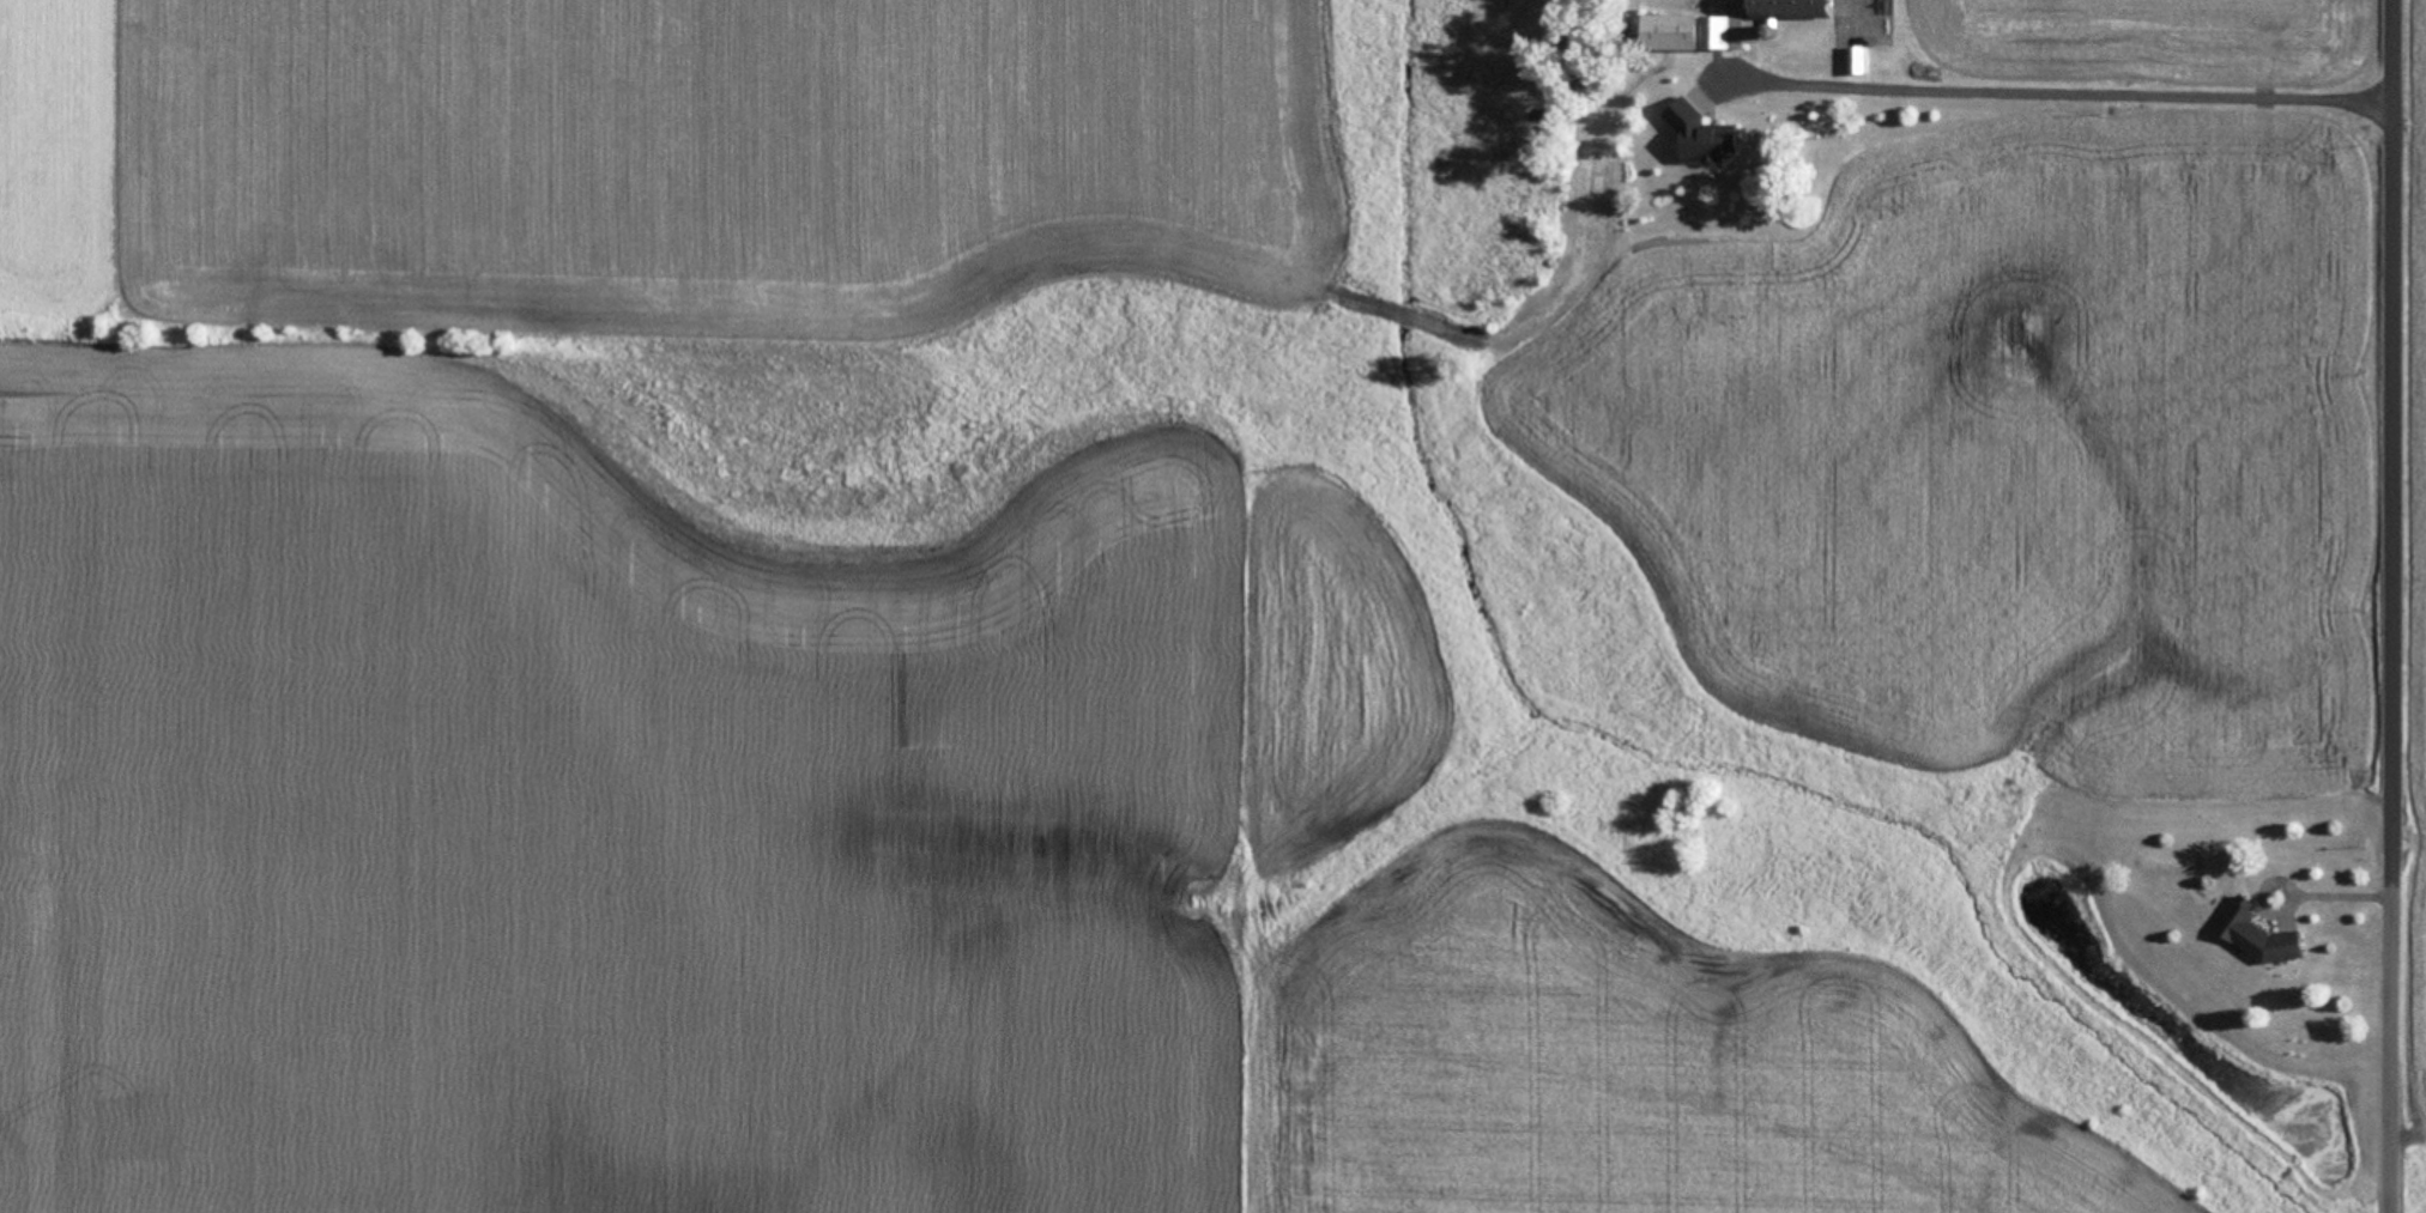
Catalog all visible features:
building: (1790, 10)
building: (1692, 35)
road: (1767, 98)
road: (2083, 108)
road: (2359, 193)
road: (2361, 799)
building: (2257, 938)

